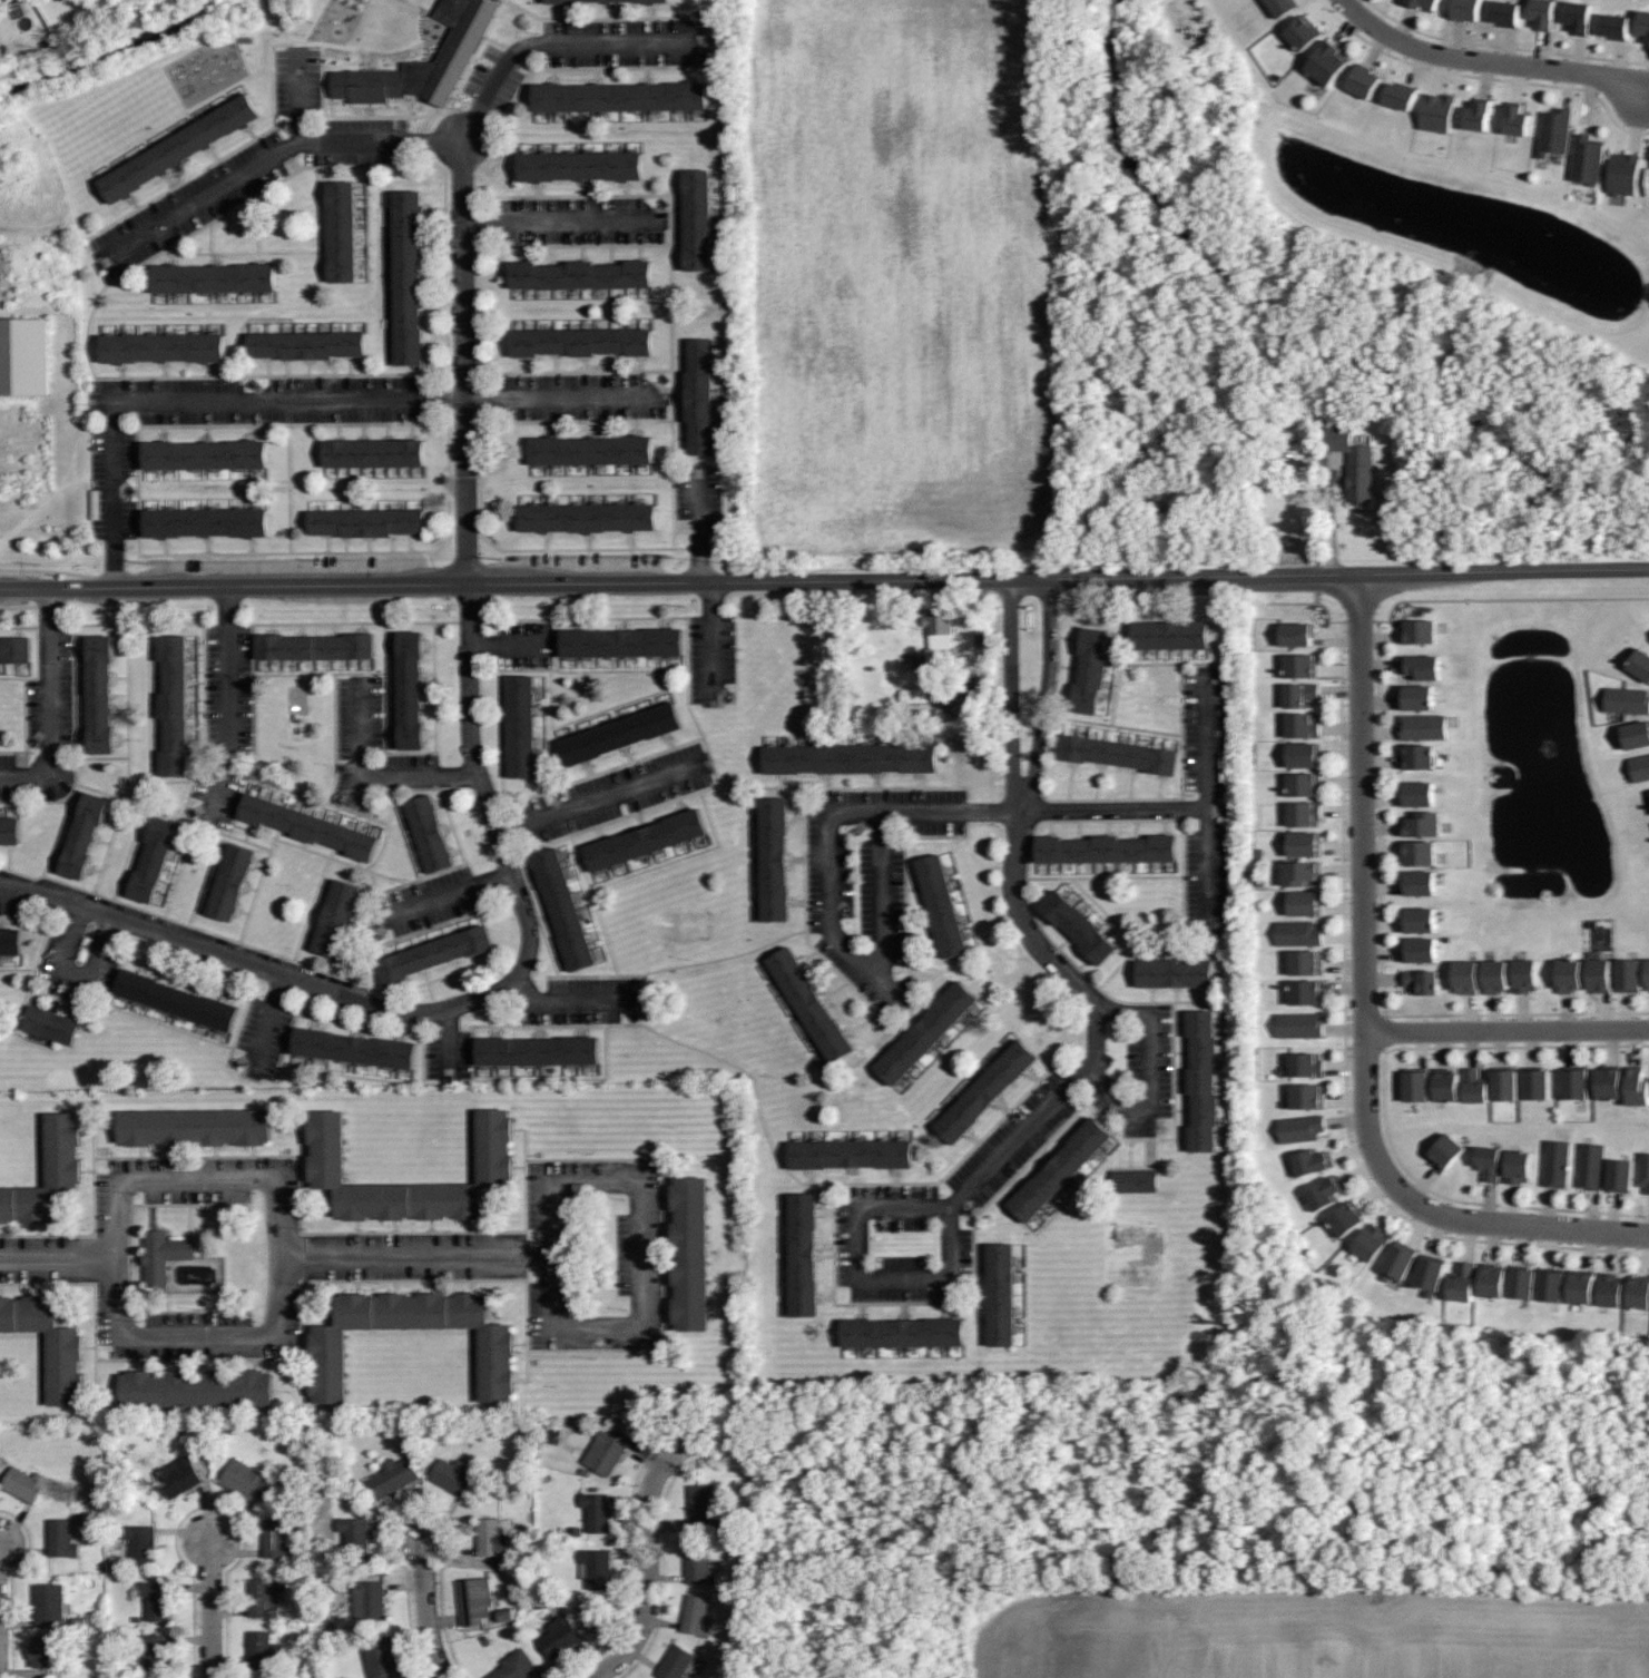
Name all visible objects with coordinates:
building: (562, 1)
building: (650, 1)
building: (1421, 3)
building: (1283, 7)
building: (1465, 10)
building: (1542, 12)
building: (1504, 13)
building: (1578, 14)
building: (1613, 23)
building: (1642, 23)
building: (1303, 31)
road: (540, 42)
building: (424, 60)
road: (1486, 60)
building: (1329, 62)
building: (1363, 81)
building: (1401, 94)
building: (619, 96)
road: (300, 105)
building: (1435, 109)
building: (1476, 114)
building: (1515, 118)
building: (1553, 131)
building: (180, 147)
road: (273, 154)
building: (1586, 158)
building: (580, 165)
building: (1623, 173)
building: (1648, 180)
building: (697, 219)
road: (562, 220)
building: (343, 230)
building: (580, 274)
crop: (903, 275)
building: (408, 276)
building: (214, 277)
building: (582, 341)
building: (307, 344)
building: (164, 346)
building: (24, 355)
road: (463, 377)
building: (700, 395)
road: (298, 398)
building: (590, 450)
building: (374, 452)
building: (205, 454)
building: (1354, 464)
building: (588, 517)
building: (206, 521)
building: (366, 521)
road: (824, 577)
road: (707, 582)
road: (1505, 600)
road: (1312, 604)
road: (1360, 622)
building: (939, 627)
building: (1421, 630)
building: (1297, 632)
building: (1169, 634)
building: (621, 641)
road: (510, 644)
building: (314, 646)
building: (16, 649)
building: (919, 661)
building: (1640, 663)
building: (1300, 665)
building: (1422, 665)
building: (1089, 669)
road: (469, 679)
building: (410, 688)
building: (101, 694)
building: (1300, 694)
building: (1417, 696)
building: (1628, 699)
building: (175, 704)
road: (50, 706)
road: (229, 707)
building: (1302, 724)
building: (520, 725)
building: (1424, 726)
building: (622, 733)
building: (1636, 734)
road: (1206, 737)
building: (1117, 753)
building: (1303, 753)
building: (1417, 755)
road: (359, 758)
building: (848, 758)
building: (1640, 767)
road: (454, 775)
building: (1304, 784)
building: (1417, 792)
road: (603, 796)
road: (1113, 808)
road: (950, 811)
building: (1304, 813)
building: (1424, 822)
building: (310, 825)
building: (10, 831)
building: (429, 832)
building: (84, 835)
building: (647, 837)
building: (1304, 842)
building: (1107, 847)
building: (1420, 852)
building: (776, 857)
road: (1344, 857)
building: (154, 858)
road: (508, 863)
road: (1363, 867)
building: (1300, 872)
road: (1208, 874)
building: (230, 881)
building: (1420, 882)
road: (439, 897)
building: (1305, 903)
building: (941, 904)
building: (563, 907)
building: (336, 917)
building: (1420, 919)
building: (1078, 924)
road: (1028, 932)
building: (1298, 932)
building: (10, 941)
building: (1421, 949)
road: (1383, 950)
building: (434, 952)
road: (881, 960)
building: (1305, 961)
building: (1648, 968)
road: (271, 969)
building: (1174, 972)
road: (76, 973)
building: (1570, 973)
building: (1600, 973)
building: (1525, 974)
building: (1629, 974)
building: (1466, 975)
building: (1495, 975)
building: (1422, 980)
building: (1305, 991)
building: (176, 999)
road: (573, 999)
building: (808, 1003)
building: (1300, 1023)
building: (49, 1024)
road: (266, 1024)
road: (1506, 1029)
building: (927, 1032)
road: (448, 1043)
building: (353, 1047)
building: (537, 1050)
building: (1307, 1063)
road: (1146, 1079)
building: (1203, 1080)
building: (1504, 1081)
building: (1537, 1081)
building: (1576, 1081)
building: (1609, 1081)
building: (1416, 1083)
building: (1446, 1083)
building: (1474, 1085)
building: (1638, 1085)
building: (987, 1090)
building: (1308, 1096)
building: (194, 1127)
building: (1302, 1127)
building: (1445, 1150)
road: (1352, 1151)
building: (851, 1152)
building: (1489, 1160)
building: (1313, 1161)
building: (1557, 1162)
building: (1518, 1165)
building: (1591, 1165)
building: (494, 1167)
building: (1060, 1168)
building: (1643, 1169)
building: (48, 1172)
building: (1620, 1174)
building: (1132, 1179)
building: (1326, 1191)
road: (1613, 1210)
building: (1347, 1217)
road: (1502, 1223)
road: (1452, 1238)
building: (1372, 1242)
road: (645, 1252)
building: (689, 1253)
building: (804, 1253)
building: (161, 1254)
road: (415, 1255)
road: (111, 1257)
road: (56, 1258)
building: (1401, 1258)
building: (1432, 1273)
road: (945, 1275)
building: (1494, 1280)
building: (1464, 1282)
building: (1524, 1282)
building: (1553, 1285)
building: (1583, 1287)
building: (1611, 1289)
building: (1002, 1293)
building: (1638, 1293)
building: (902, 1332)
building: (49, 1344)
building: (497, 1344)
building: (196, 1387)
building: (605, 1451)
building: (452, 1475)
building: (175, 1476)
building: (390, 1476)
building: (245, 1479)
building: (22, 1483)
building: (701, 1510)
building: (595, 1511)
road: (647, 1532)
building: (353, 1534)
building: (61, 1538)
building: (274, 1538)
building: (489, 1538)
building: (139, 1542)
building: (697, 1564)
building: (593, 1567)
building: (264, 1594)
building: (369, 1597)
building: (155, 1599)
building: (472, 1599)
building: (47, 1602)
road: (209, 1608)
road: (424, 1608)
building: (695, 1615)
crop: (1318, 1632)
building: (557, 1635)
building: (262, 1649)
building: (41, 1650)
building: (156, 1651)
building: (379, 1658)
building: (674, 1661)
building: (513, 1666)

